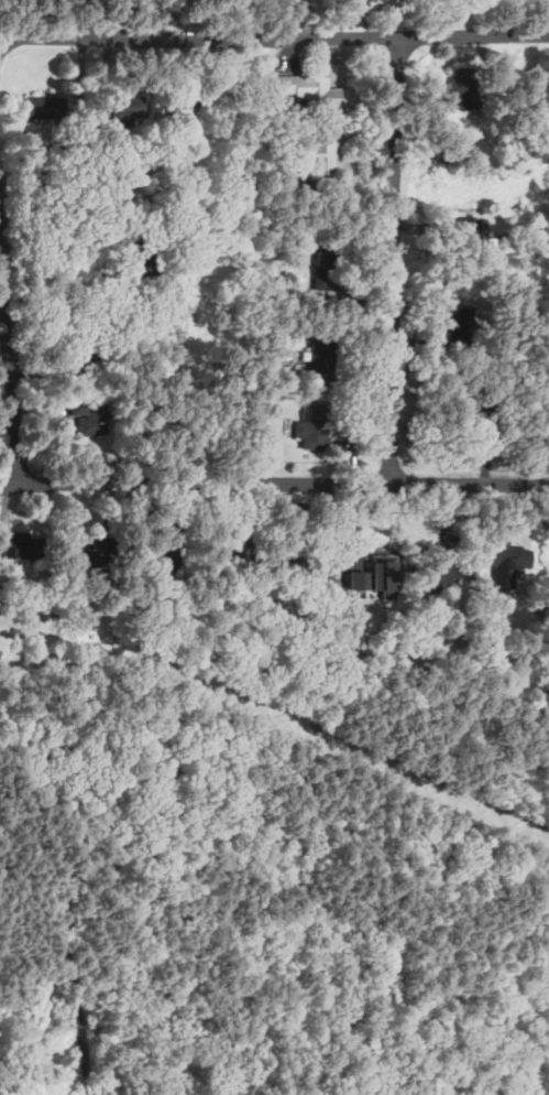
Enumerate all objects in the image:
road: (272, 36)
road: (7, 37)
street lamp: (234, 55)
building: (462, 89)
building: (318, 91)
building: (186, 105)
building: (45, 108)
building: (125, 110)
building: (319, 155)
building: (108, 162)
building: (161, 227)
building: (470, 235)
road: (57, 237)
building: (295, 241)
building: (266, 250)
building: (145, 254)
road: (395, 259)
building: (325, 271)
street lamp: (409, 274)
building: (458, 325)
building: (89, 335)
building: (320, 357)
building: (523, 379)
building: (473, 413)
building: (90, 415)
building: (314, 427)
street lamp: (407, 464)
road: (18, 481)
road: (188, 484)
road: (18, 485)
building: (18, 546)
building: (95, 551)
building: (164, 554)
building: (510, 556)
building: (235, 560)
building: (305, 565)
building: (438, 573)
building: (376, 576)
building: (333, 579)
building: (540, 604)
building: (141, 618)
building: (187, 630)
road: (312, 907)
road: (65, 926)

